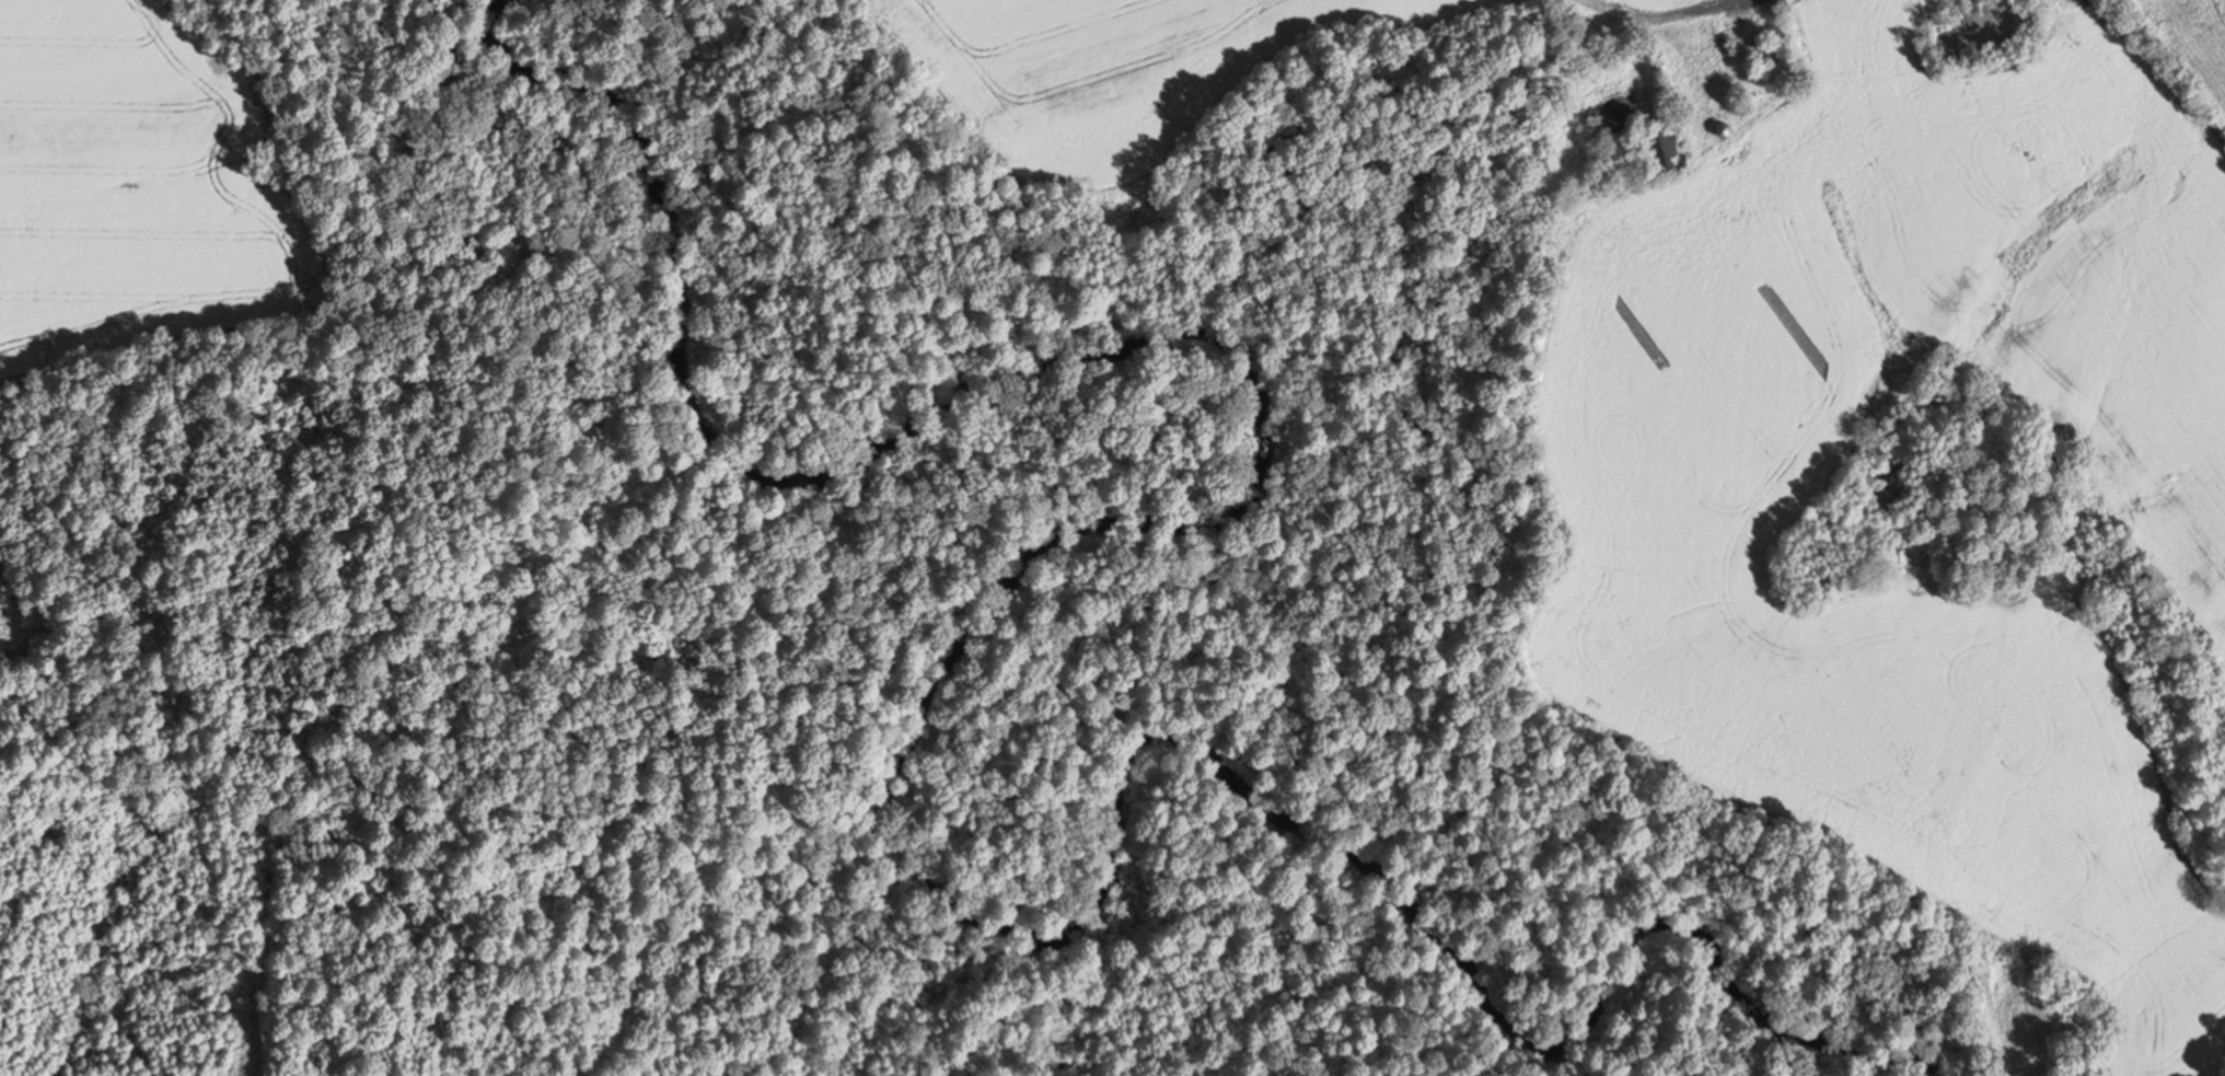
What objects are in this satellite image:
road: (1759, 2)

